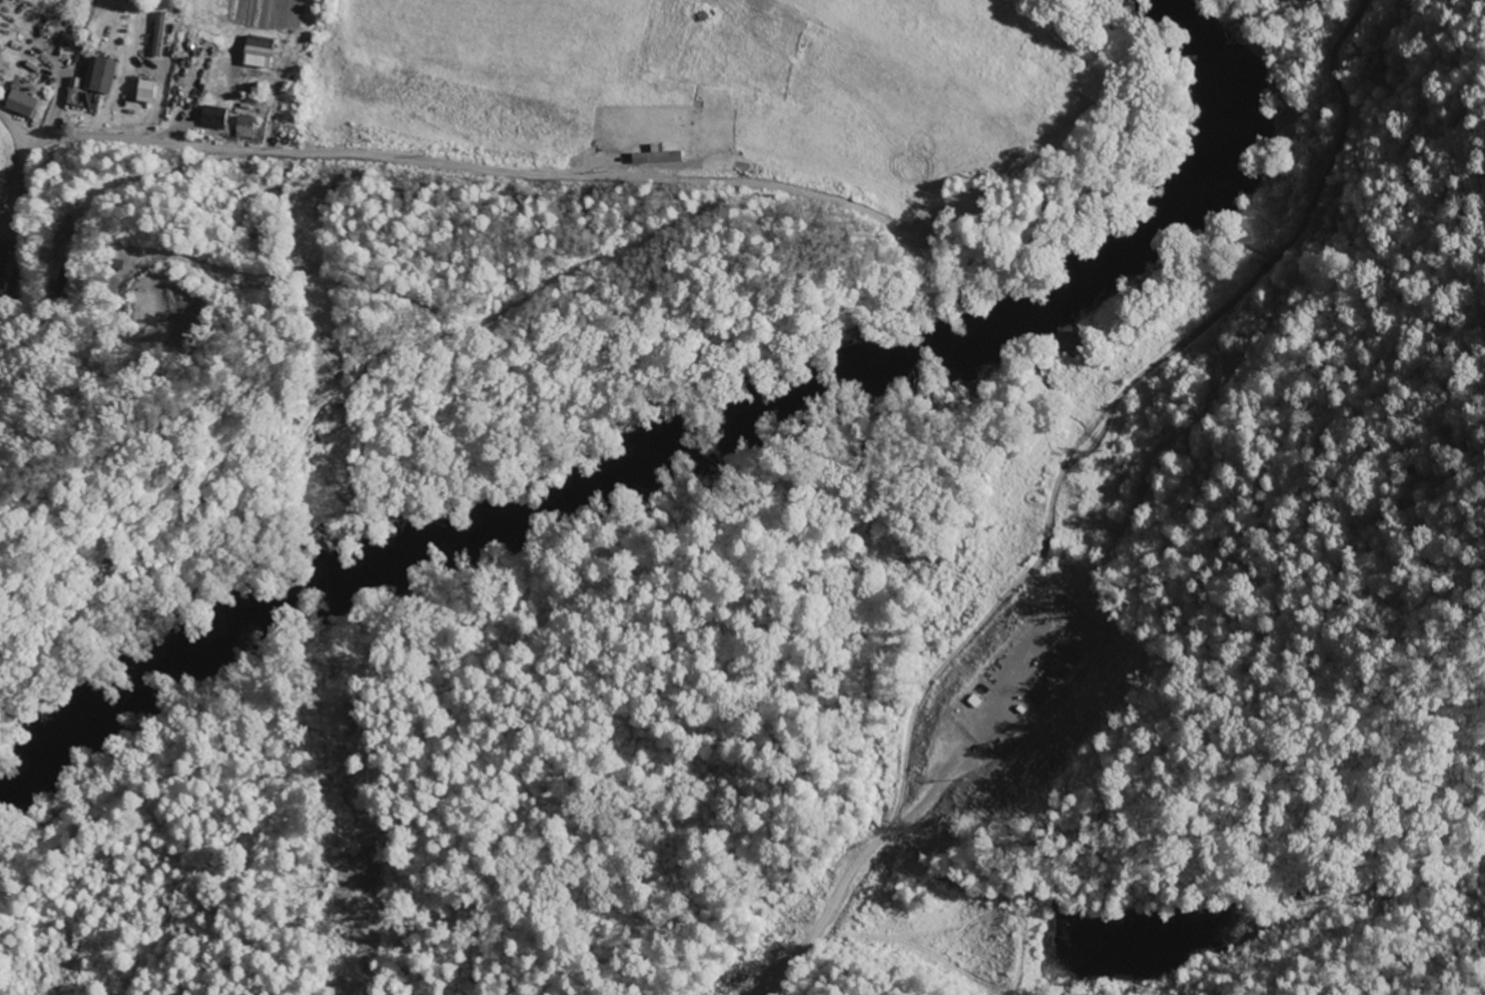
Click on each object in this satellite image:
building: (259, 54)
building: (101, 78)
building: (146, 94)
building: (21, 105)
building: (214, 119)
building: (245, 128)
road: (399, 177)
river: (693, 457)
road: (1009, 568)

